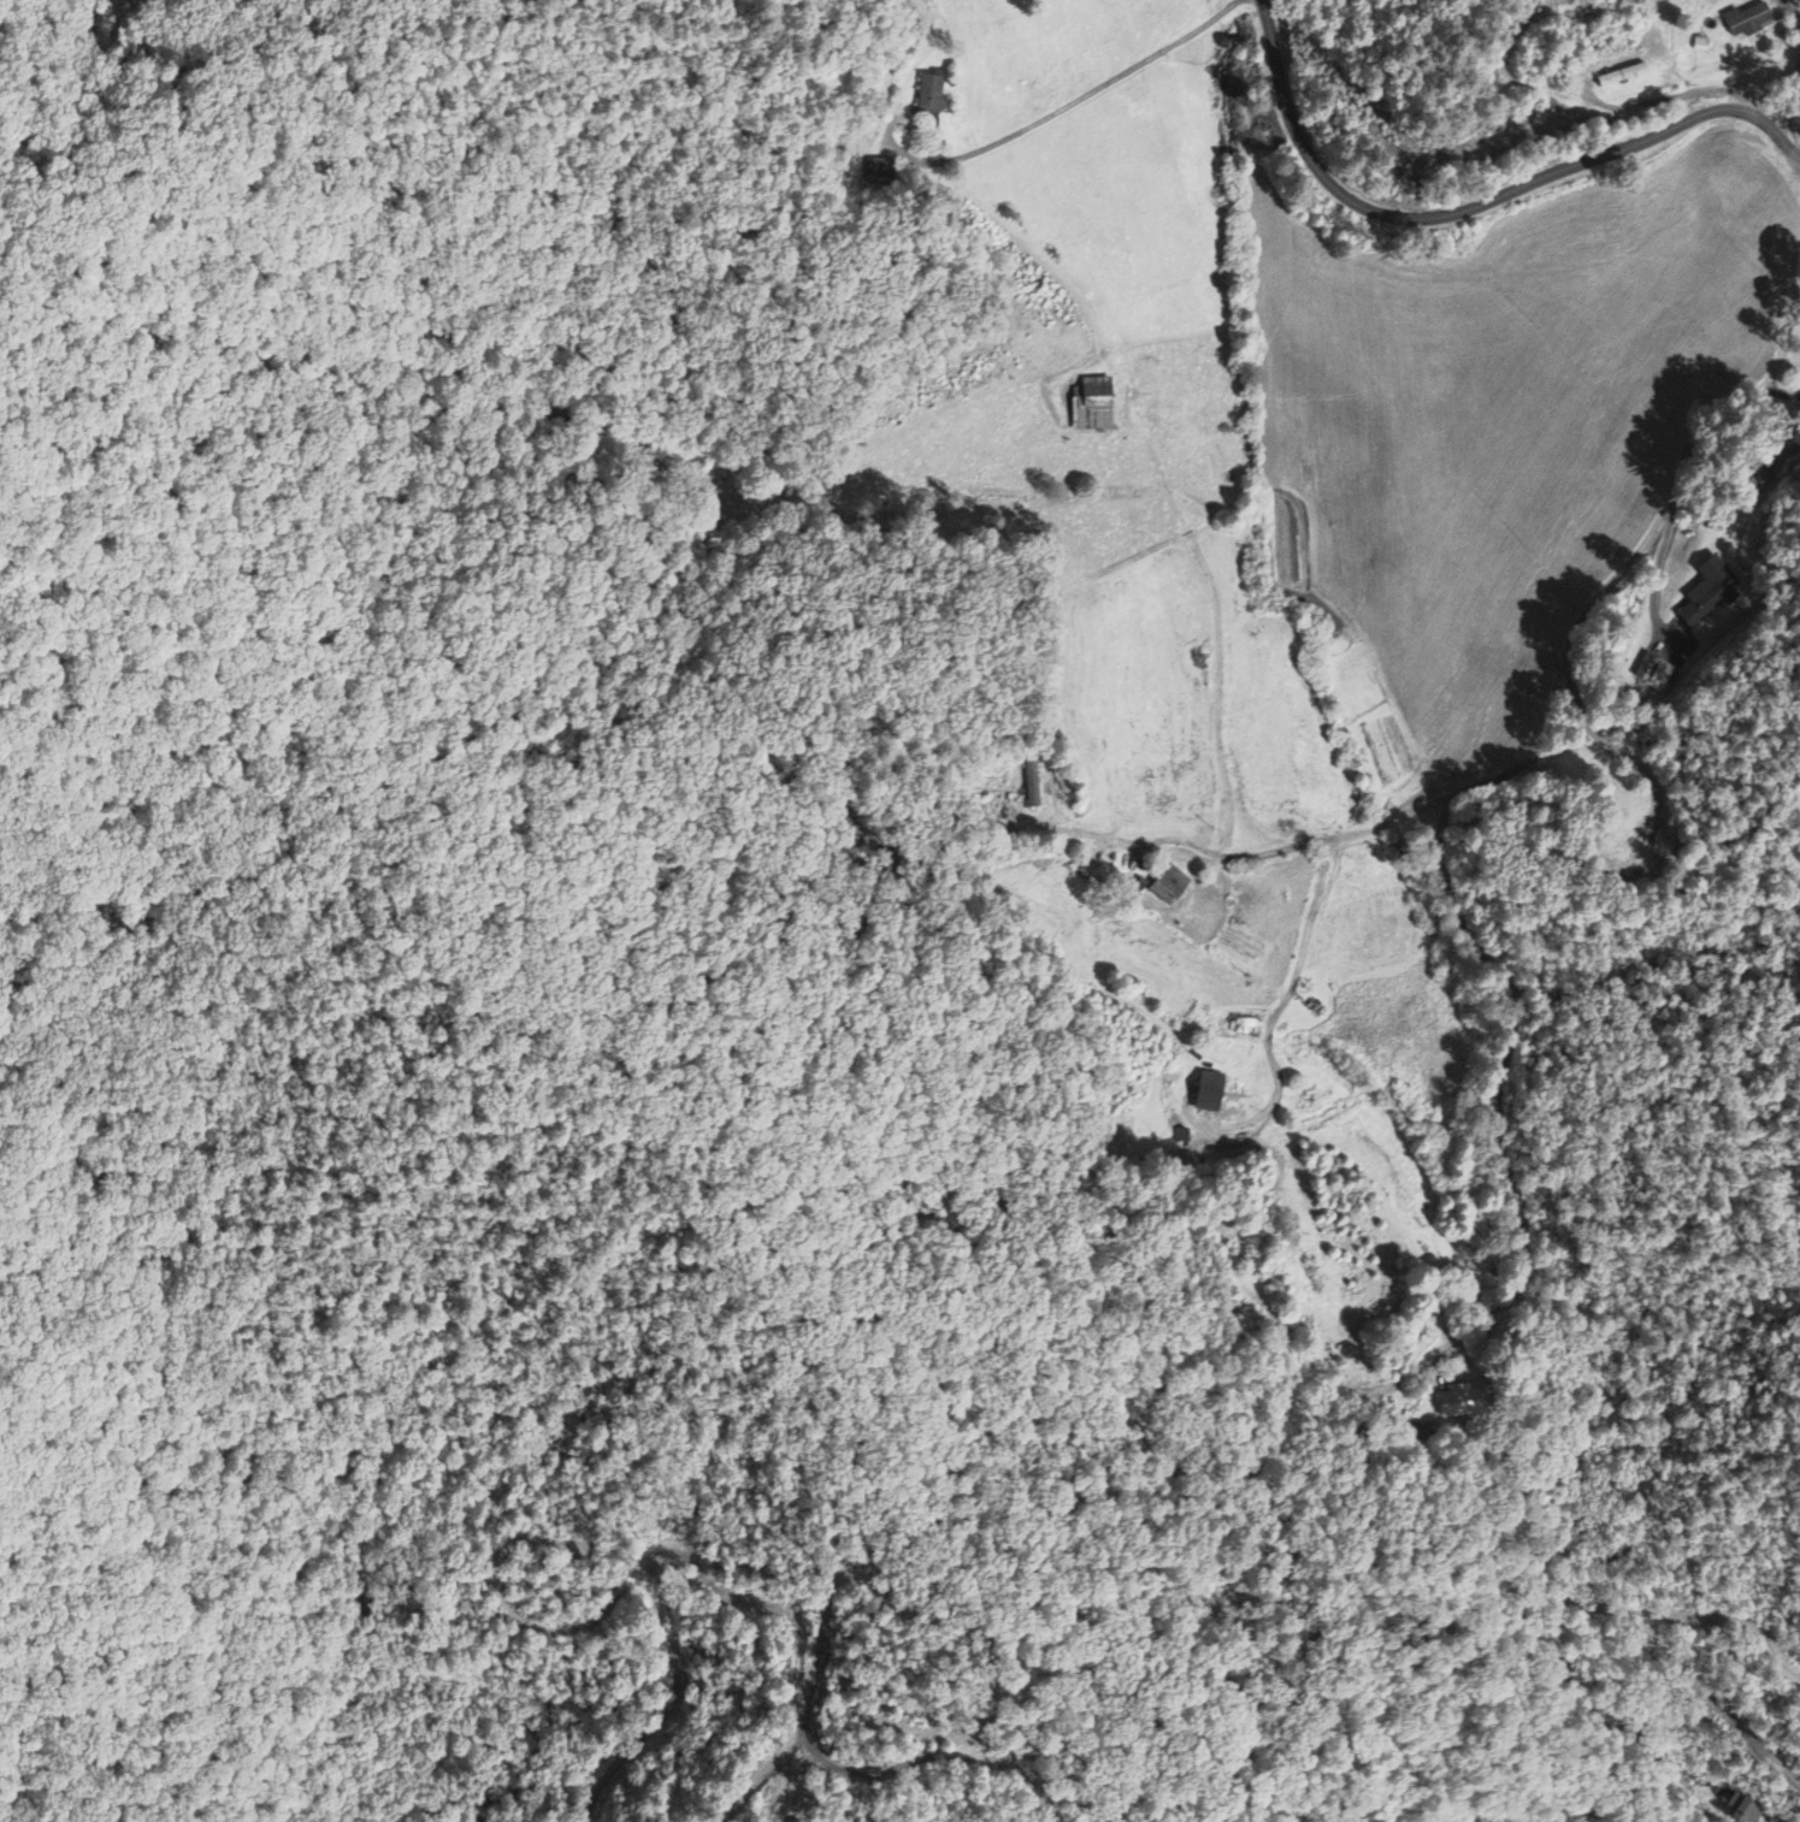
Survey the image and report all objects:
building: (1746, 22)
building: (929, 95)
road: (1483, 200)
building: (1092, 406)
building: (1713, 588)
road: (1572, 645)
road: (1678, 746)
building: (1208, 1093)
building: (1742, 1810)

